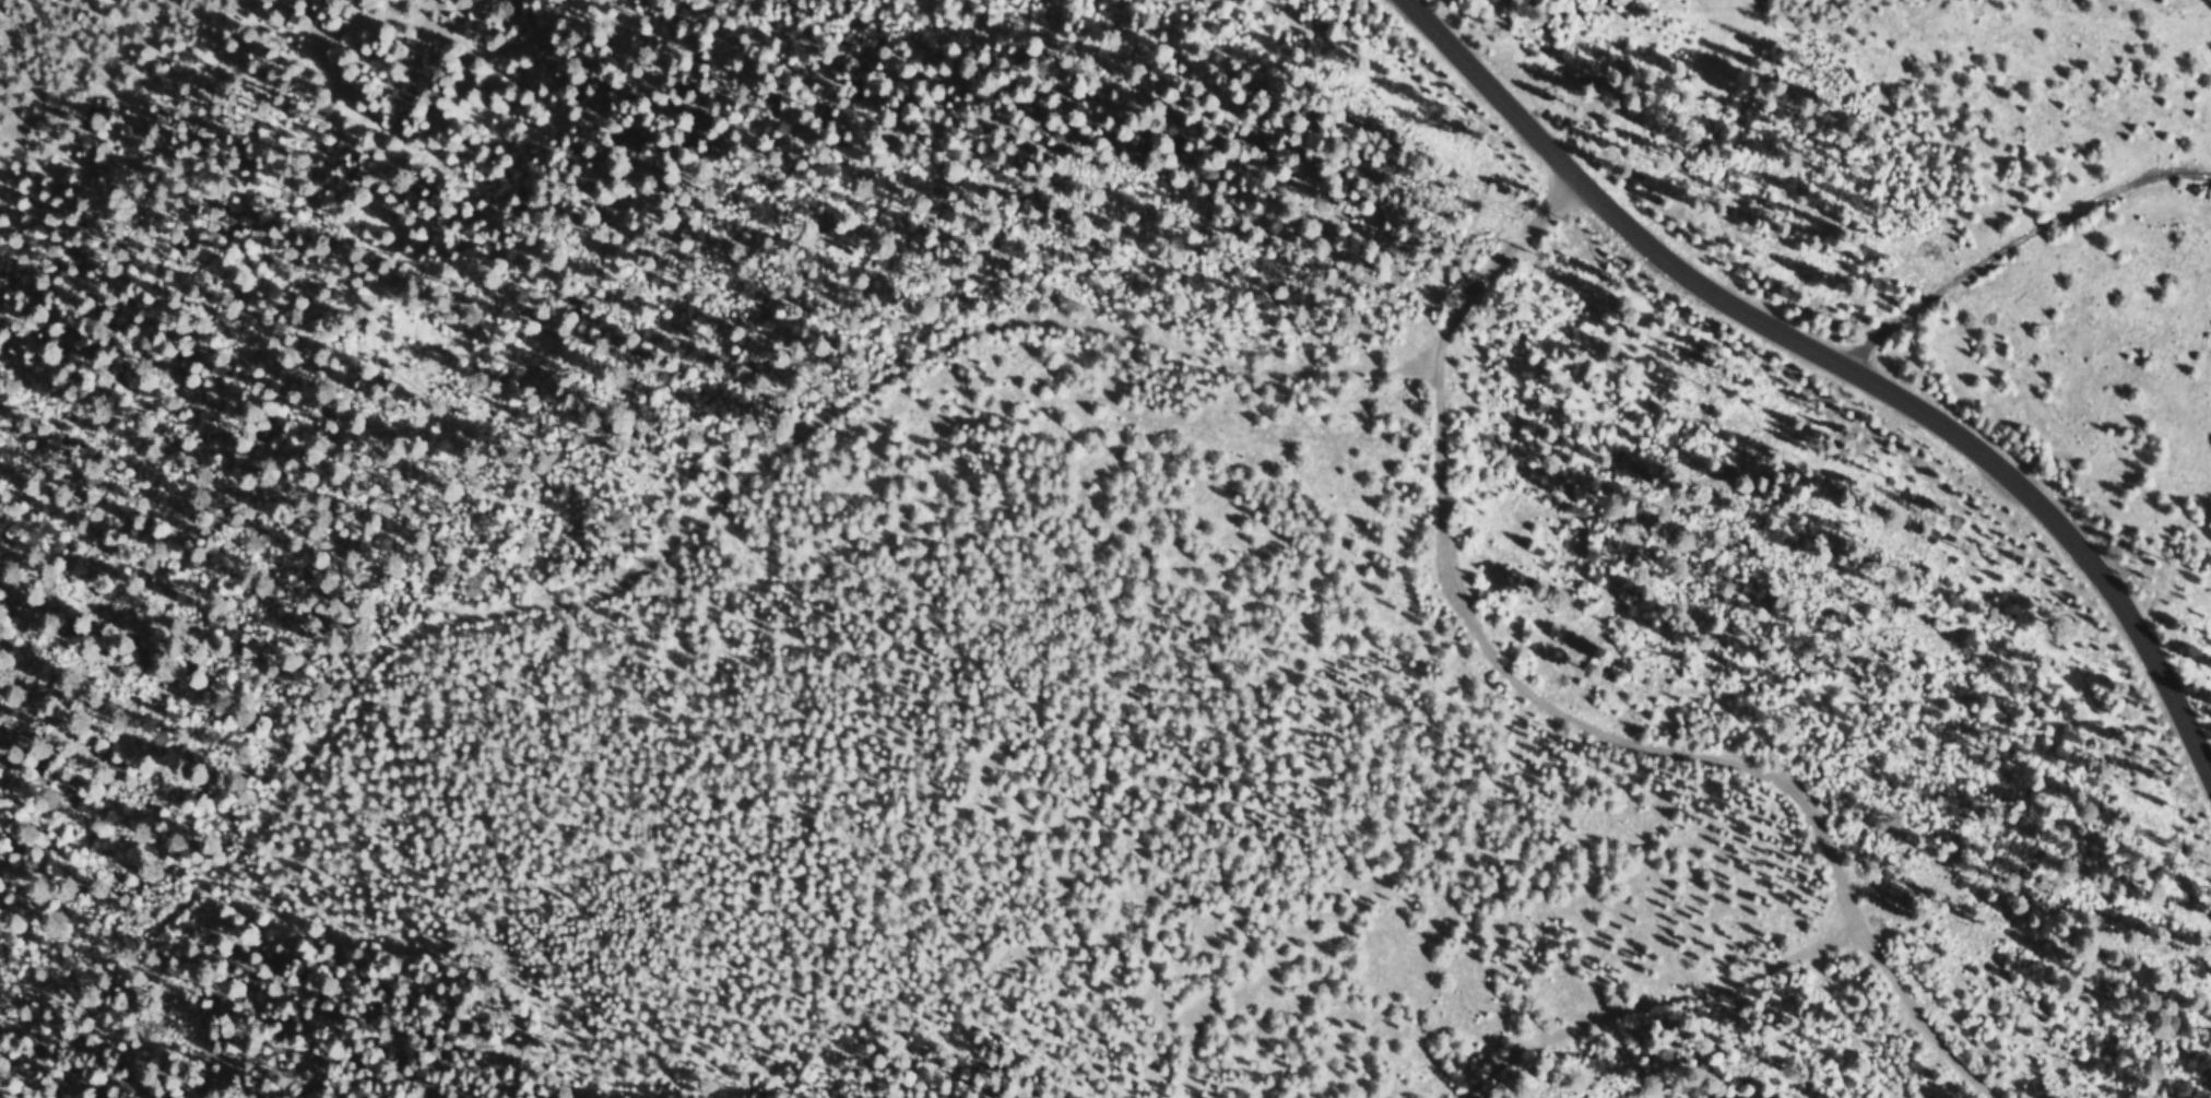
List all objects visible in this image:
road: (2011, 253)
road: (1835, 369)

